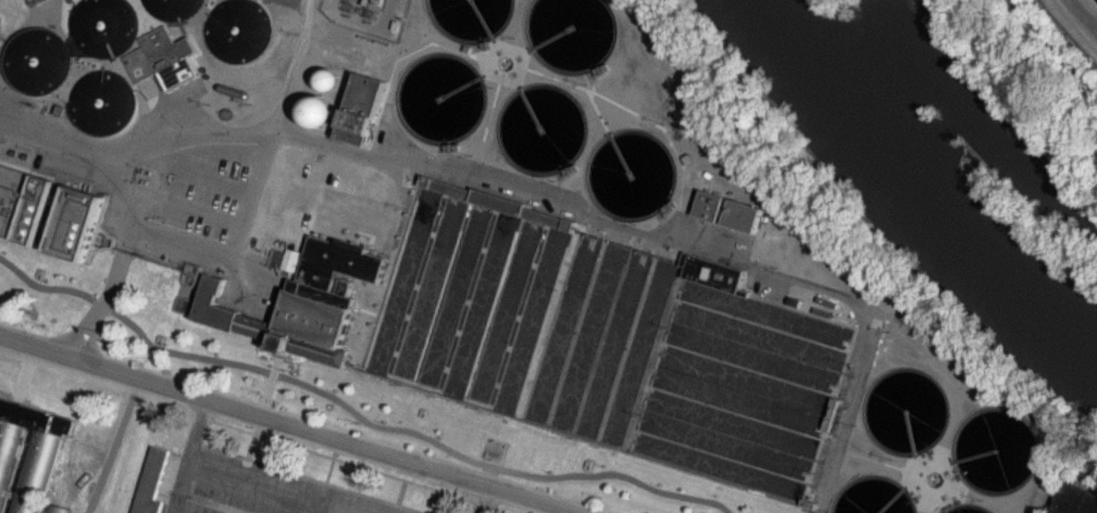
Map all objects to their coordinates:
building: (367, 14)
power substation: (367, 14)
road: (1075, 24)
road: (1049, 49)
building: (162, 58)
building: (360, 109)
building: (317, 120)
river: (921, 178)
building: (496, 201)
building: (709, 204)
building: (47, 212)
road: (125, 212)
building: (743, 215)
wastewater plant: (585, 232)
building: (286, 267)
building: (712, 272)
building: (303, 301)
crop: (905, 410)
road: (291, 422)
crop: (994, 450)
building: (45, 458)
building: (152, 485)
crop: (872, 497)
building: (1075, 499)
crop: (967, 509)
building: (50, 512)

